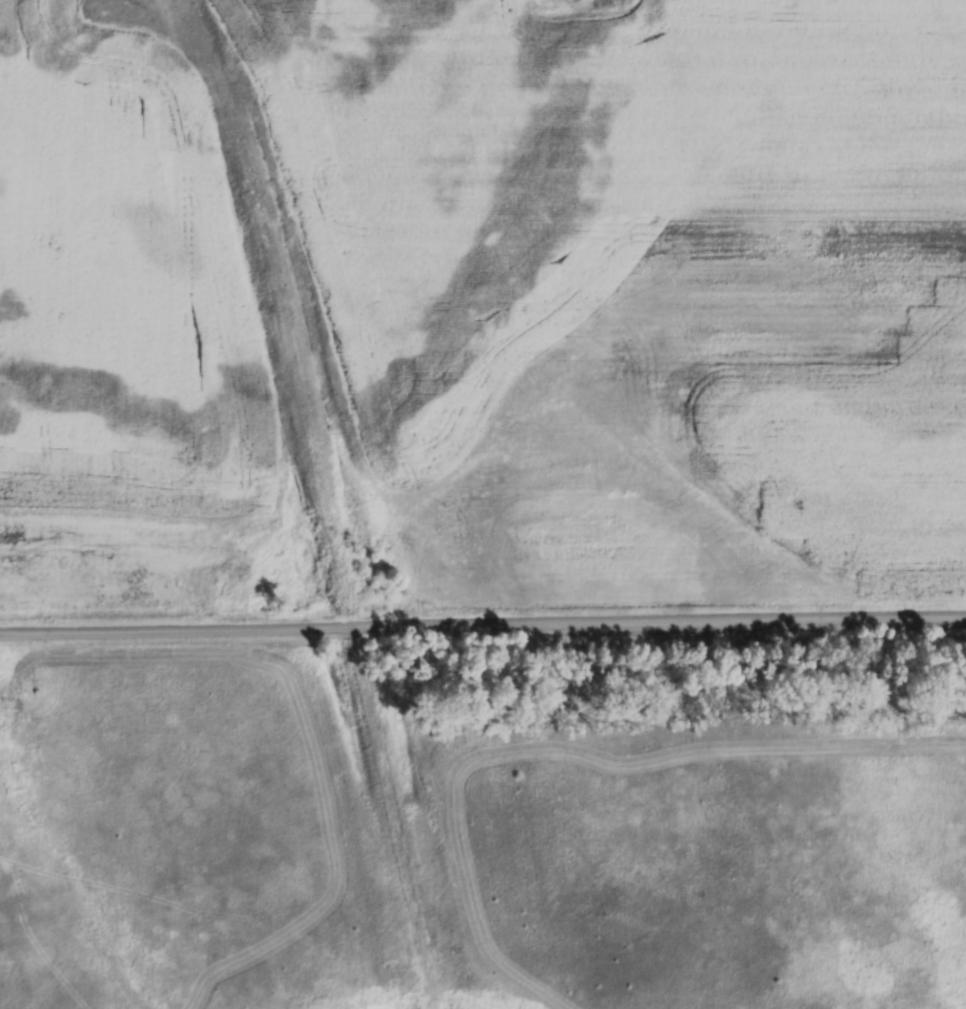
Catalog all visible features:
road: (482, 623)

